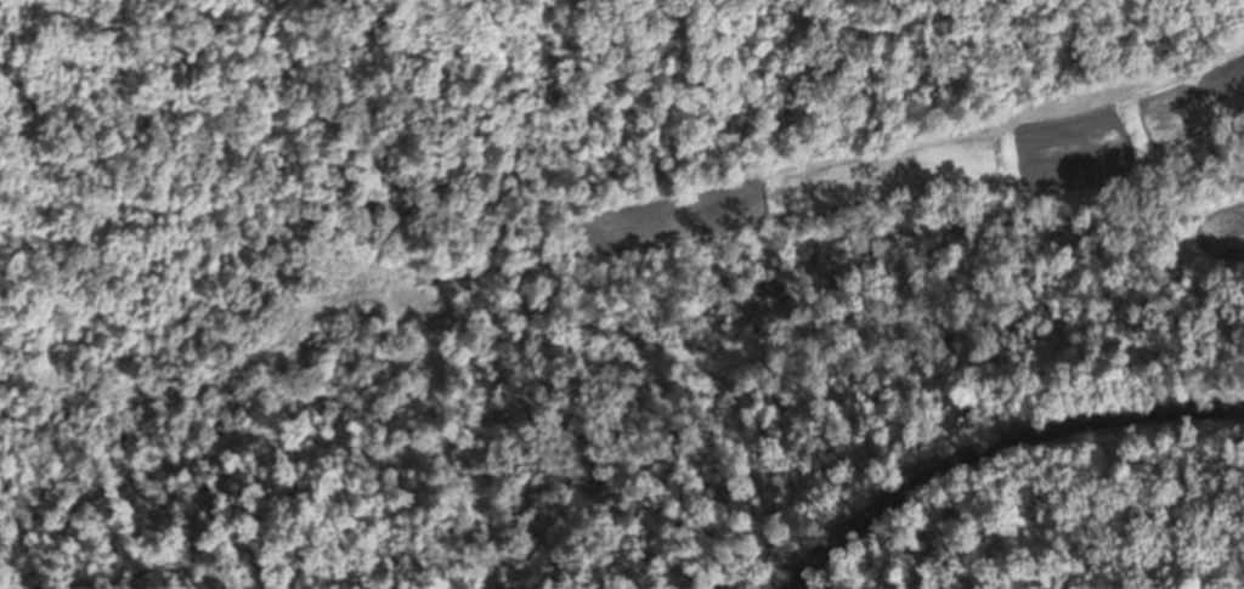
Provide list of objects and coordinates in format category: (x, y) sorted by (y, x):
road: (1010, 449)

